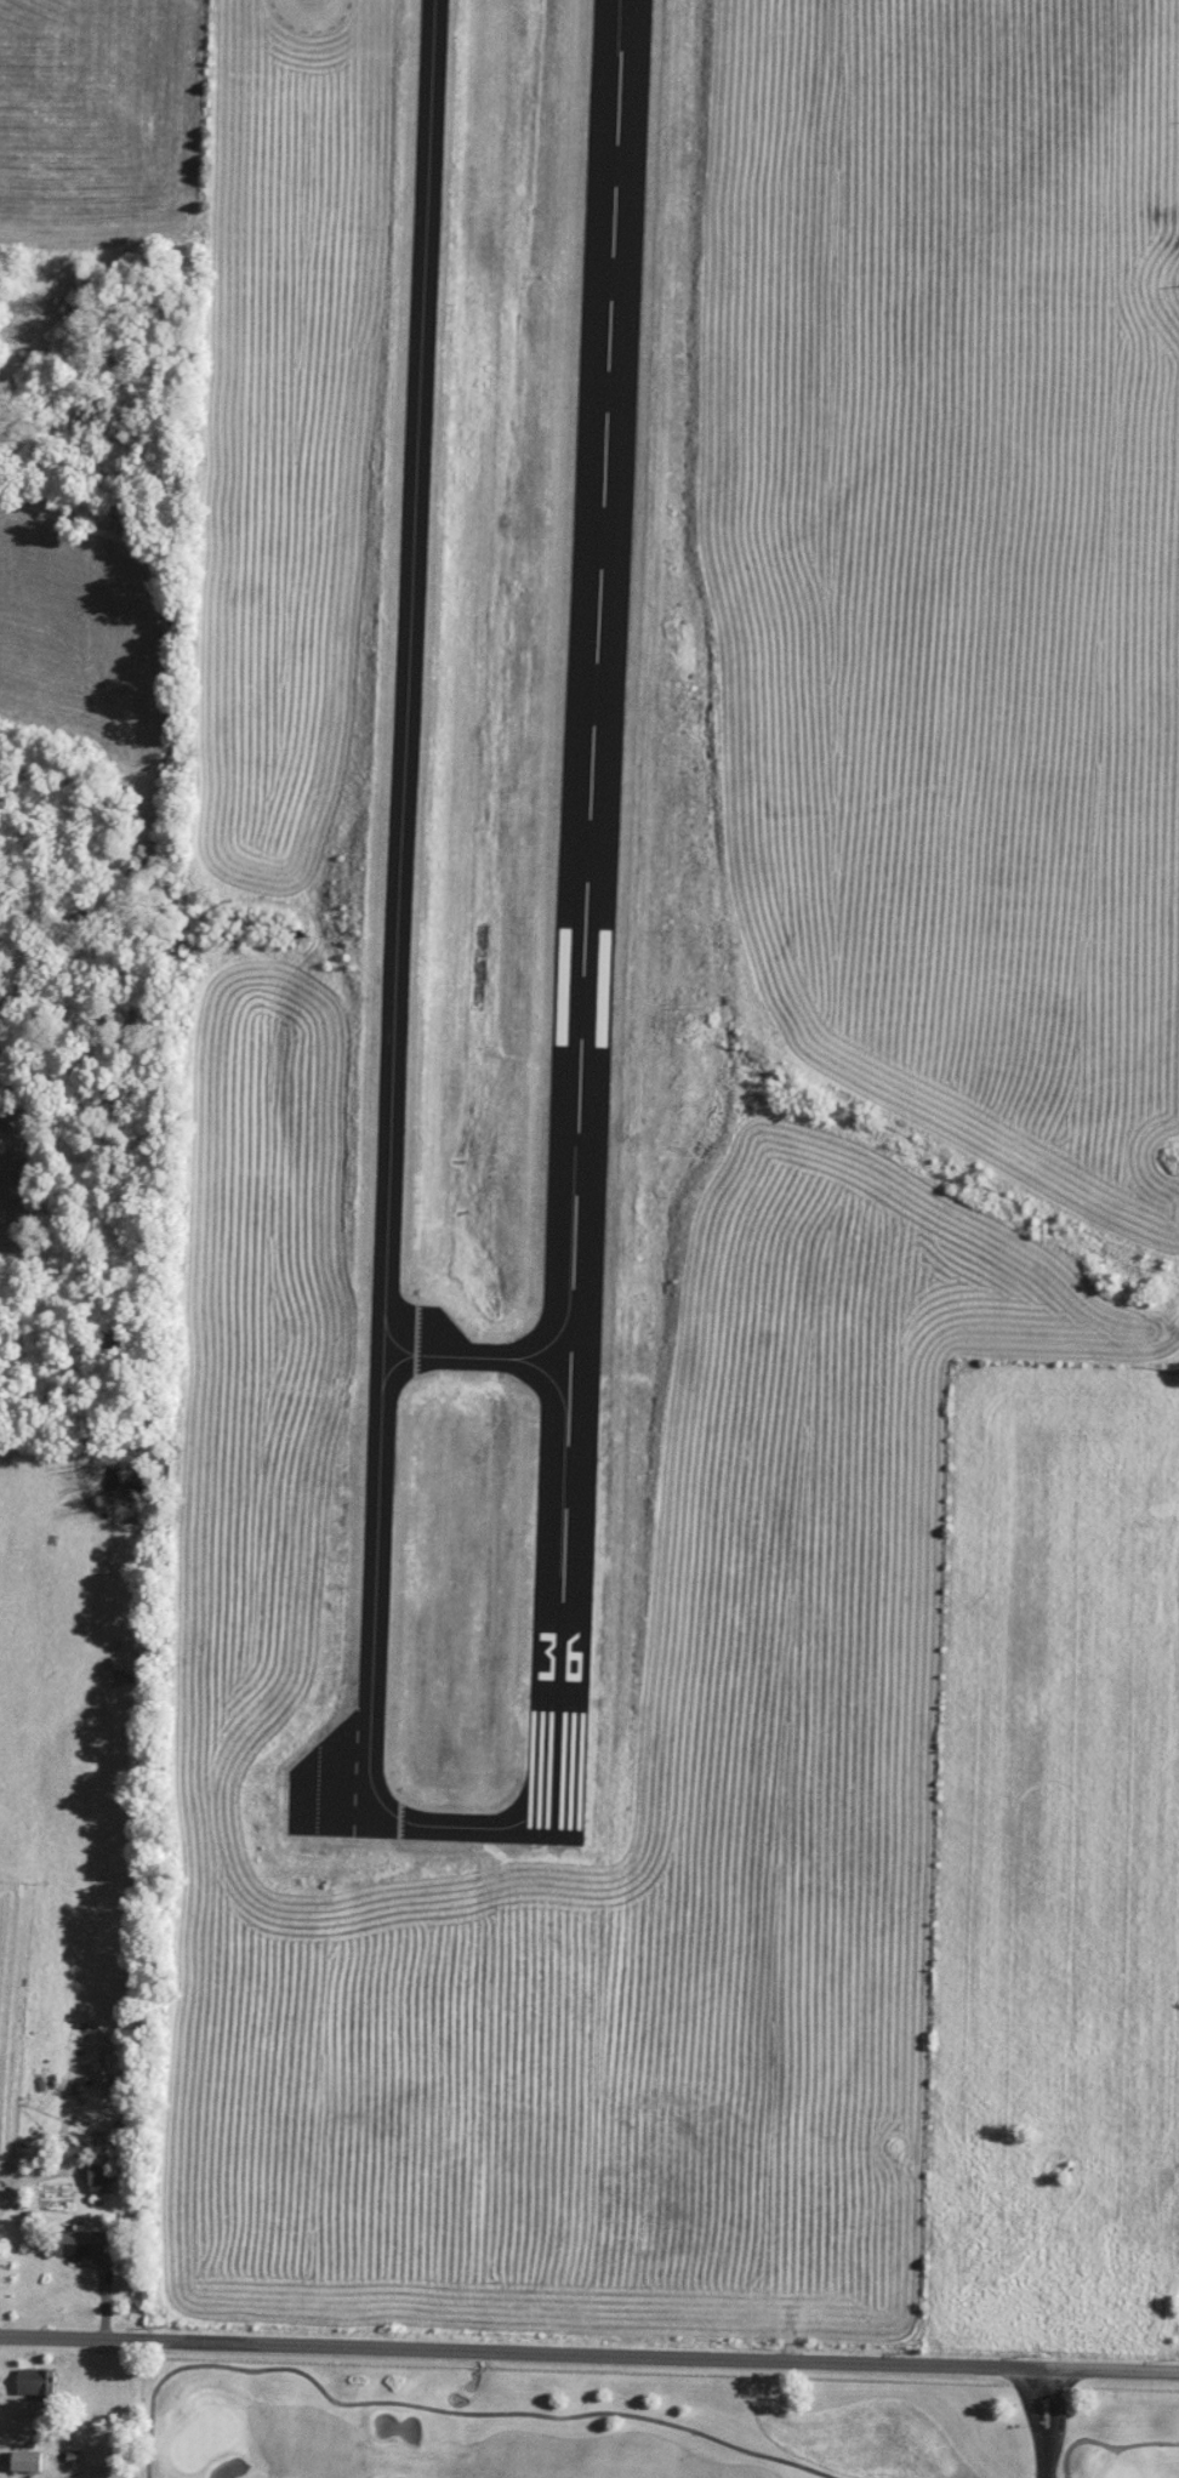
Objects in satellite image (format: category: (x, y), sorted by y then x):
airport runway: (586, 921)
airport taxiway: (395, 991)
airport taxiway: (475, 1355)
building: (106, 2169)
building: (89, 2245)
road: (588, 2357)
road: (176, 2368)
building: (35, 2381)
road: (563, 2416)
park: (606, 2421)
park: (606, 2421)
road: (1048, 2423)
road: (1105, 2445)
building: (28, 2461)

